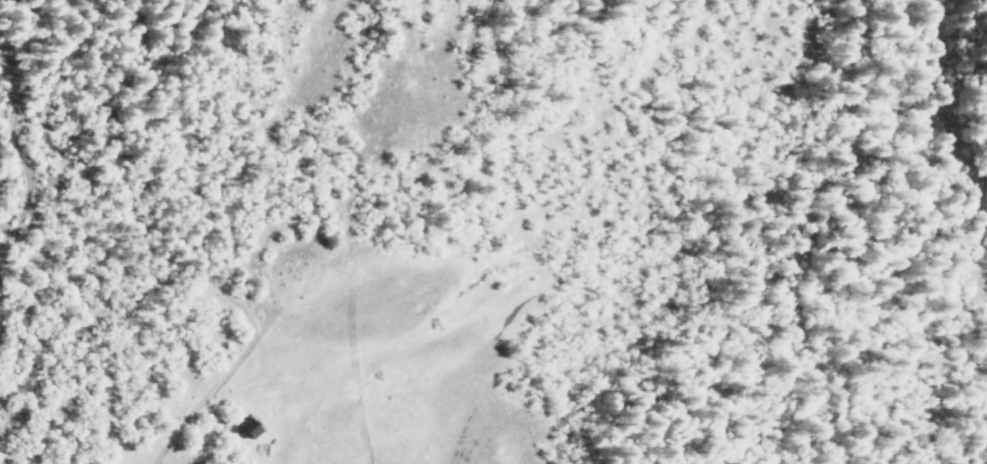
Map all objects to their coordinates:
building: (251, 426)

